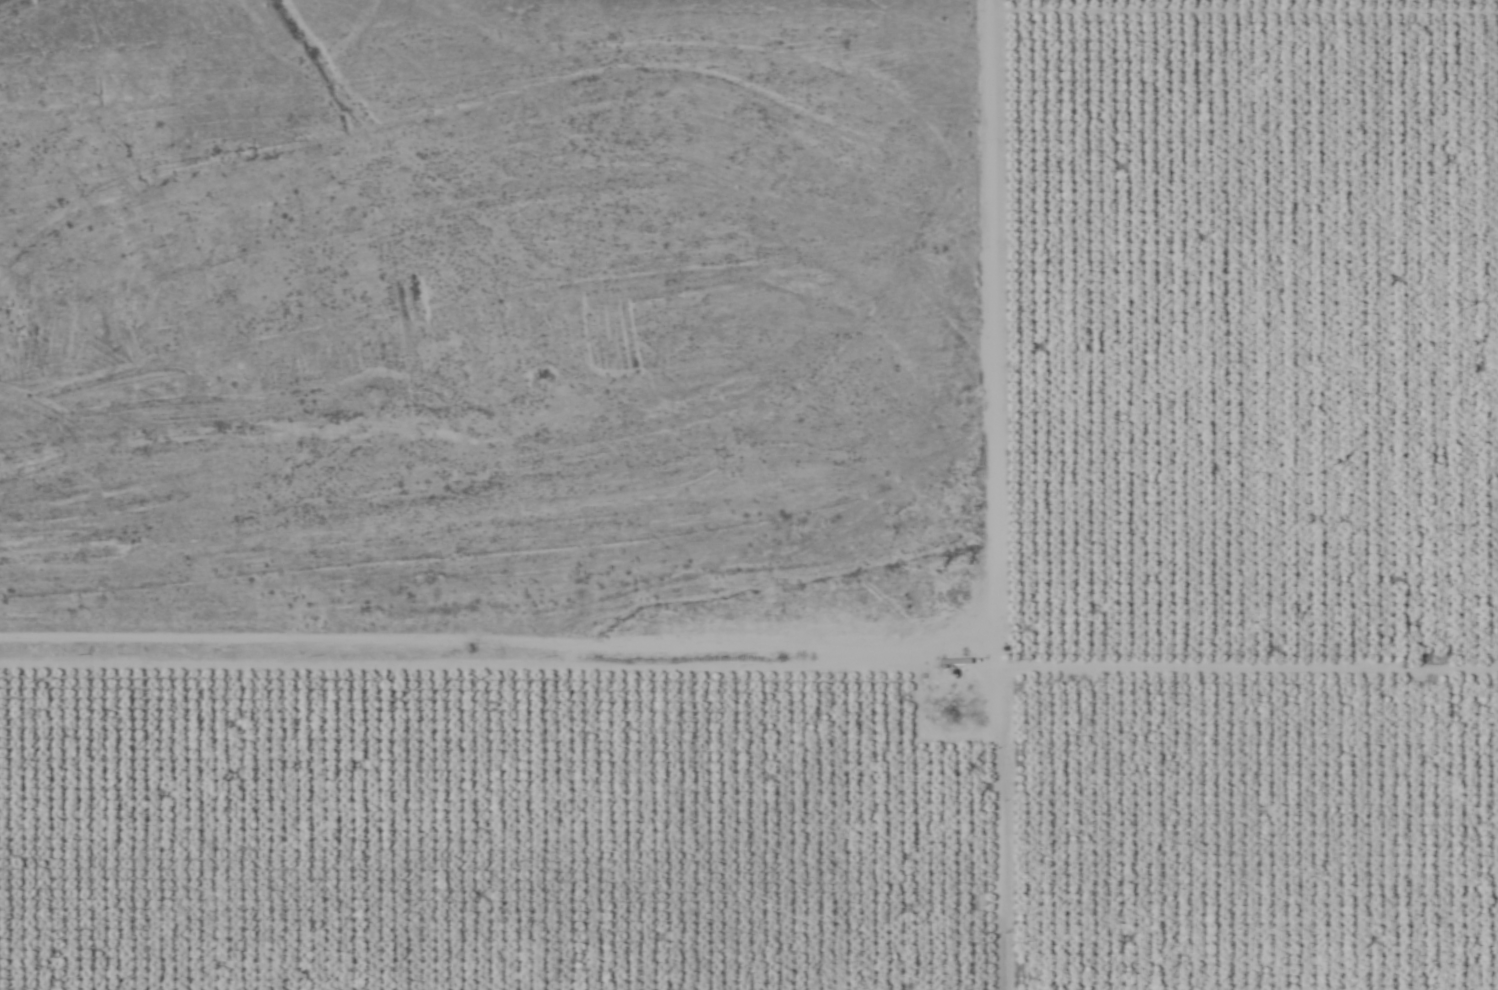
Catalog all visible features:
road: (992, 494)
road: (497, 643)

